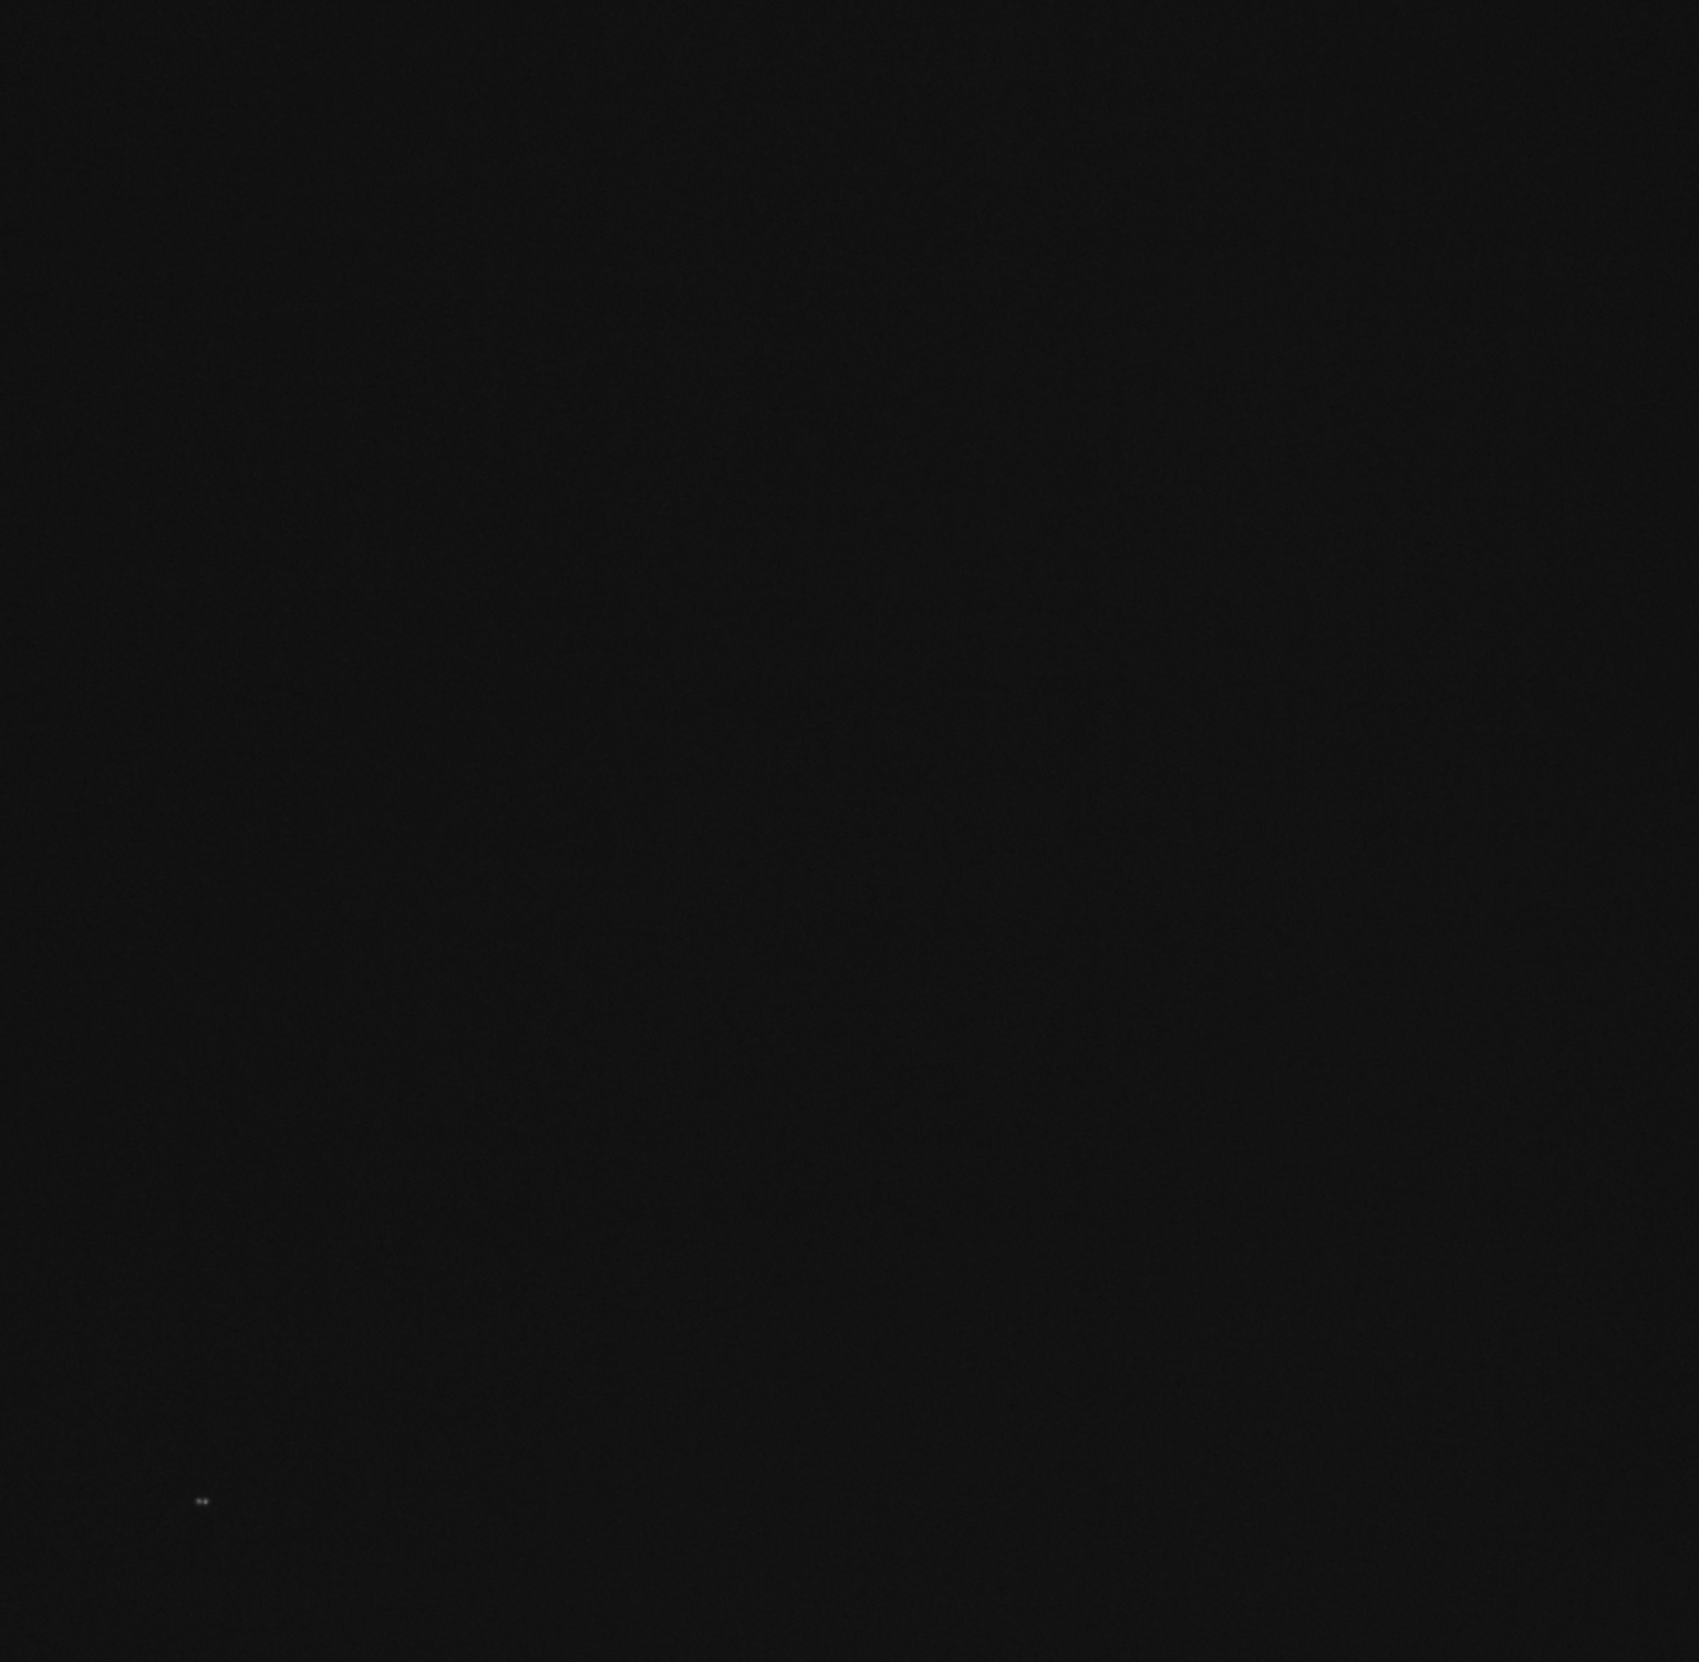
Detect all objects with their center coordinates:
river: (1597, 115)

